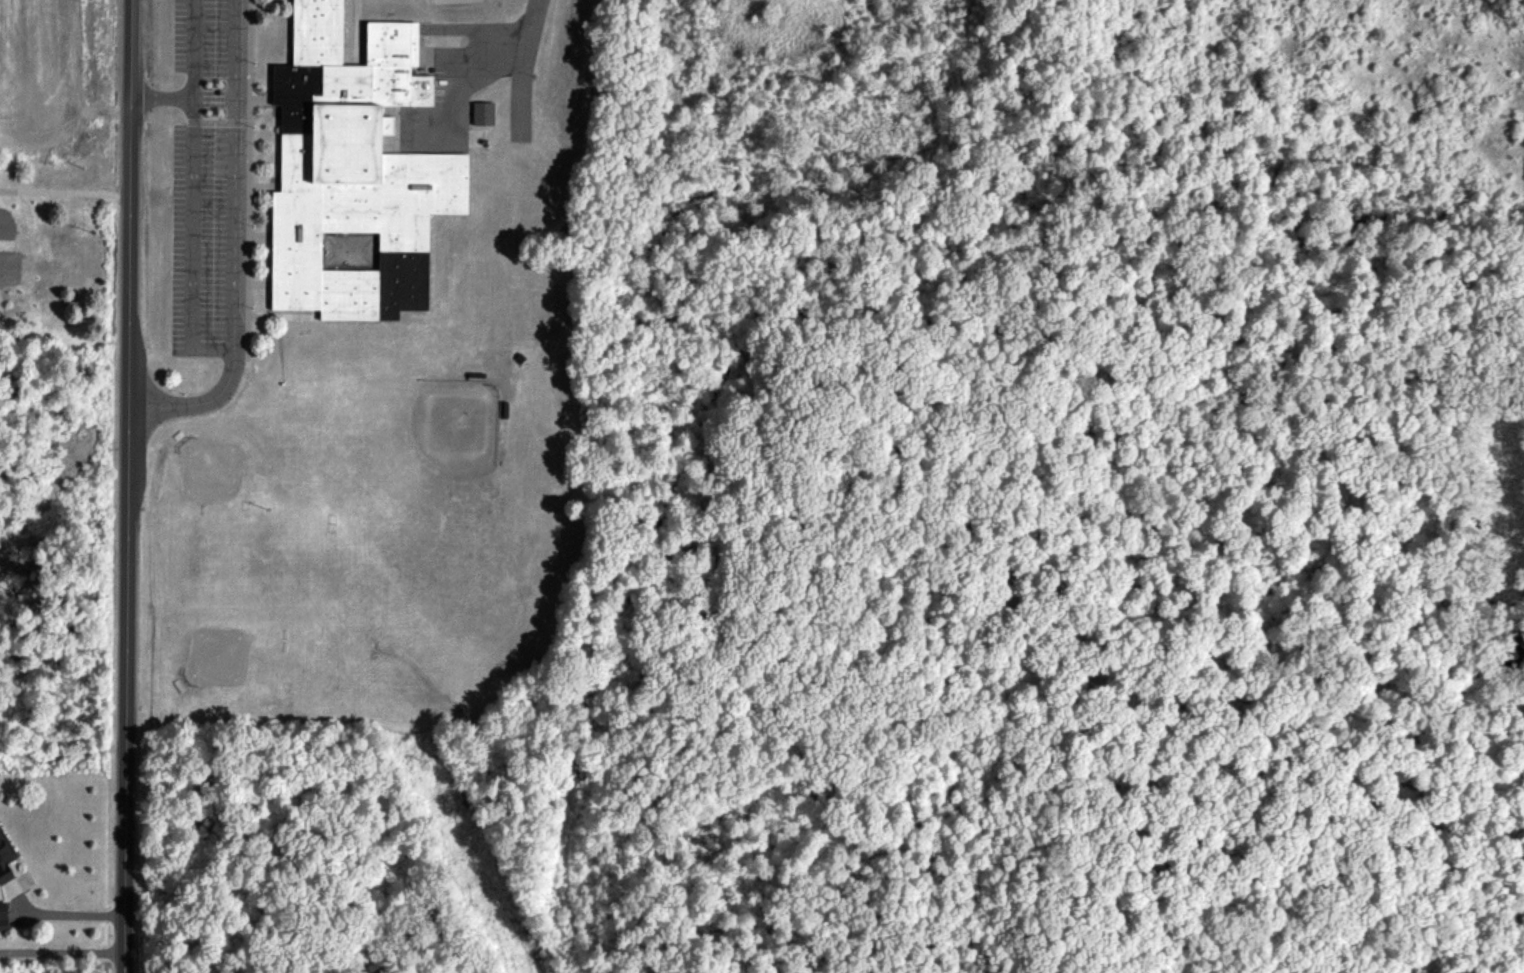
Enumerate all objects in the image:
road: (235, 49)
road: (192, 50)
road: (494, 59)
road: (524, 66)
road: (161, 100)
road: (213, 100)
building: (483, 113)
building: (354, 171)
parking lot: (206, 178)
road: (65, 189)
road: (233, 224)
road: (191, 245)
road: (198, 403)
road: (129, 486)
building: (5, 858)
road: (60, 912)
building: (3, 917)
road: (62, 952)

